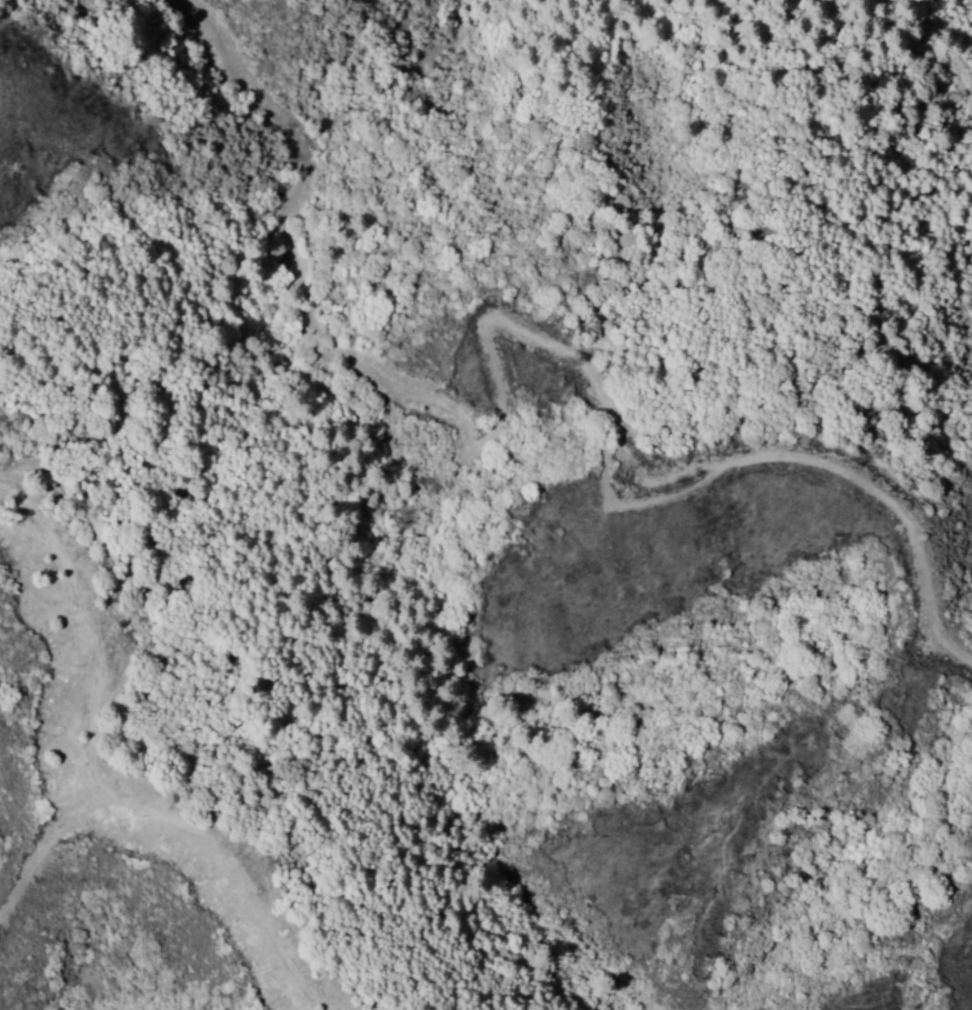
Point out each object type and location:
road: (222, 57)
road: (521, 339)

